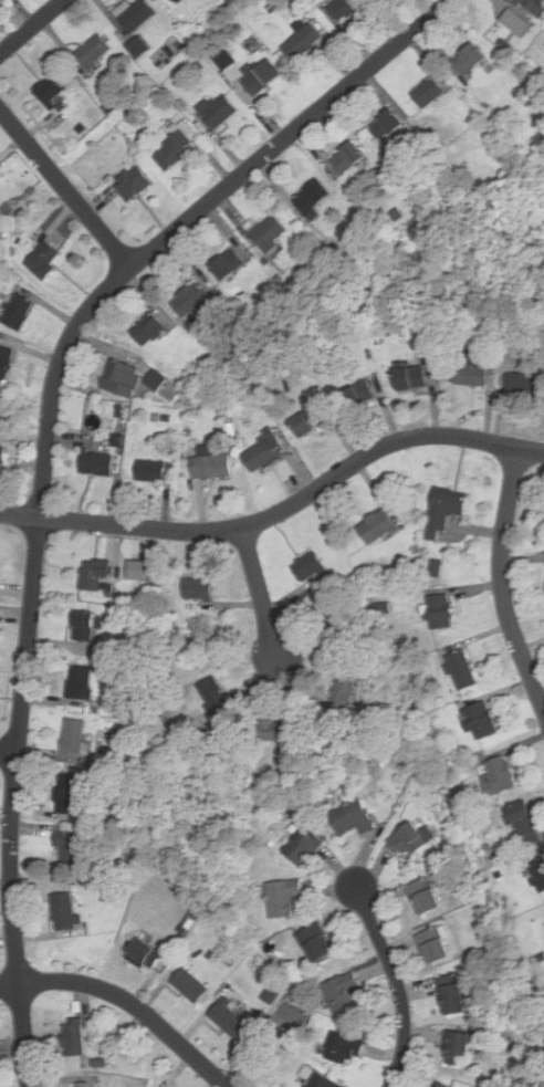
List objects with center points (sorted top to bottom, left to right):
building: (178, 0)
building: (169, 2)
building: (533, 7)
building: (342, 9)
building: (133, 13)
building: (516, 22)
road: (32, 27)
building: (301, 42)
building: (137, 46)
building: (91, 52)
building: (467, 59)
building: (260, 74)
building: (51, 86)
building: (427, 92)
building: (217, 111)
building: (385, 124)
building: (174, 147)
building: (345, 157)
building: (130, 182)
road: (66, 189)
building: (310, 198)
building: (269, 232)
building: (49, 259)
building: (226, 264)
building: (196, 302)
building: (23, 312)
building: (146, 330)
building: (7, 362)
building: (469, 375)
building: (125, 378)
building: (410, 378)
building: (159, 379)
building: (526, 383)
building: (358, 395)
building: (310, 420)
building: (263, 450)
building: (4, 454)
road: (45, 457)
building: (101, 462)
building: (213, 467)
building: (155, 471)
building: (448, 510)
road: (281, 511)
building: (380, 526)
building: (306, 565)
building: (140, 569)
building: (96, 573)
road: (500, 582)
building: (197, 588)
road: (260, 592)
building: (444, 612)
building: (82, 624)
building: (459, 669)
building: (79, 682)
building: (343, 689)
building: (211, 692)
building: (479, 719)
building: (272, 730)
building: (72, 736)
road: (9, 752)
building: (498, 775)
building: (67, 793)
building: (351, 817)
building: (522, 823)
building: (406, 838)
building: (301, 846)
building: (69, 849)
building: (538, 874)
building: (422, 896)
building: (282, 897)
building: (62, 910)
building: (314, 941)
building: (432, 944)
building: (143, 952)
road: (397, 983)
building: (187, 984)
building: (341, 990)
building: (450, 993)
road: (128, 1000)
building: (227, 1017)
building: (72, 1036)
building: (454, 1047)
building: (343, 1048)
building: (320, 1080)
building: (79, 1085)
building: (443, 1085)

